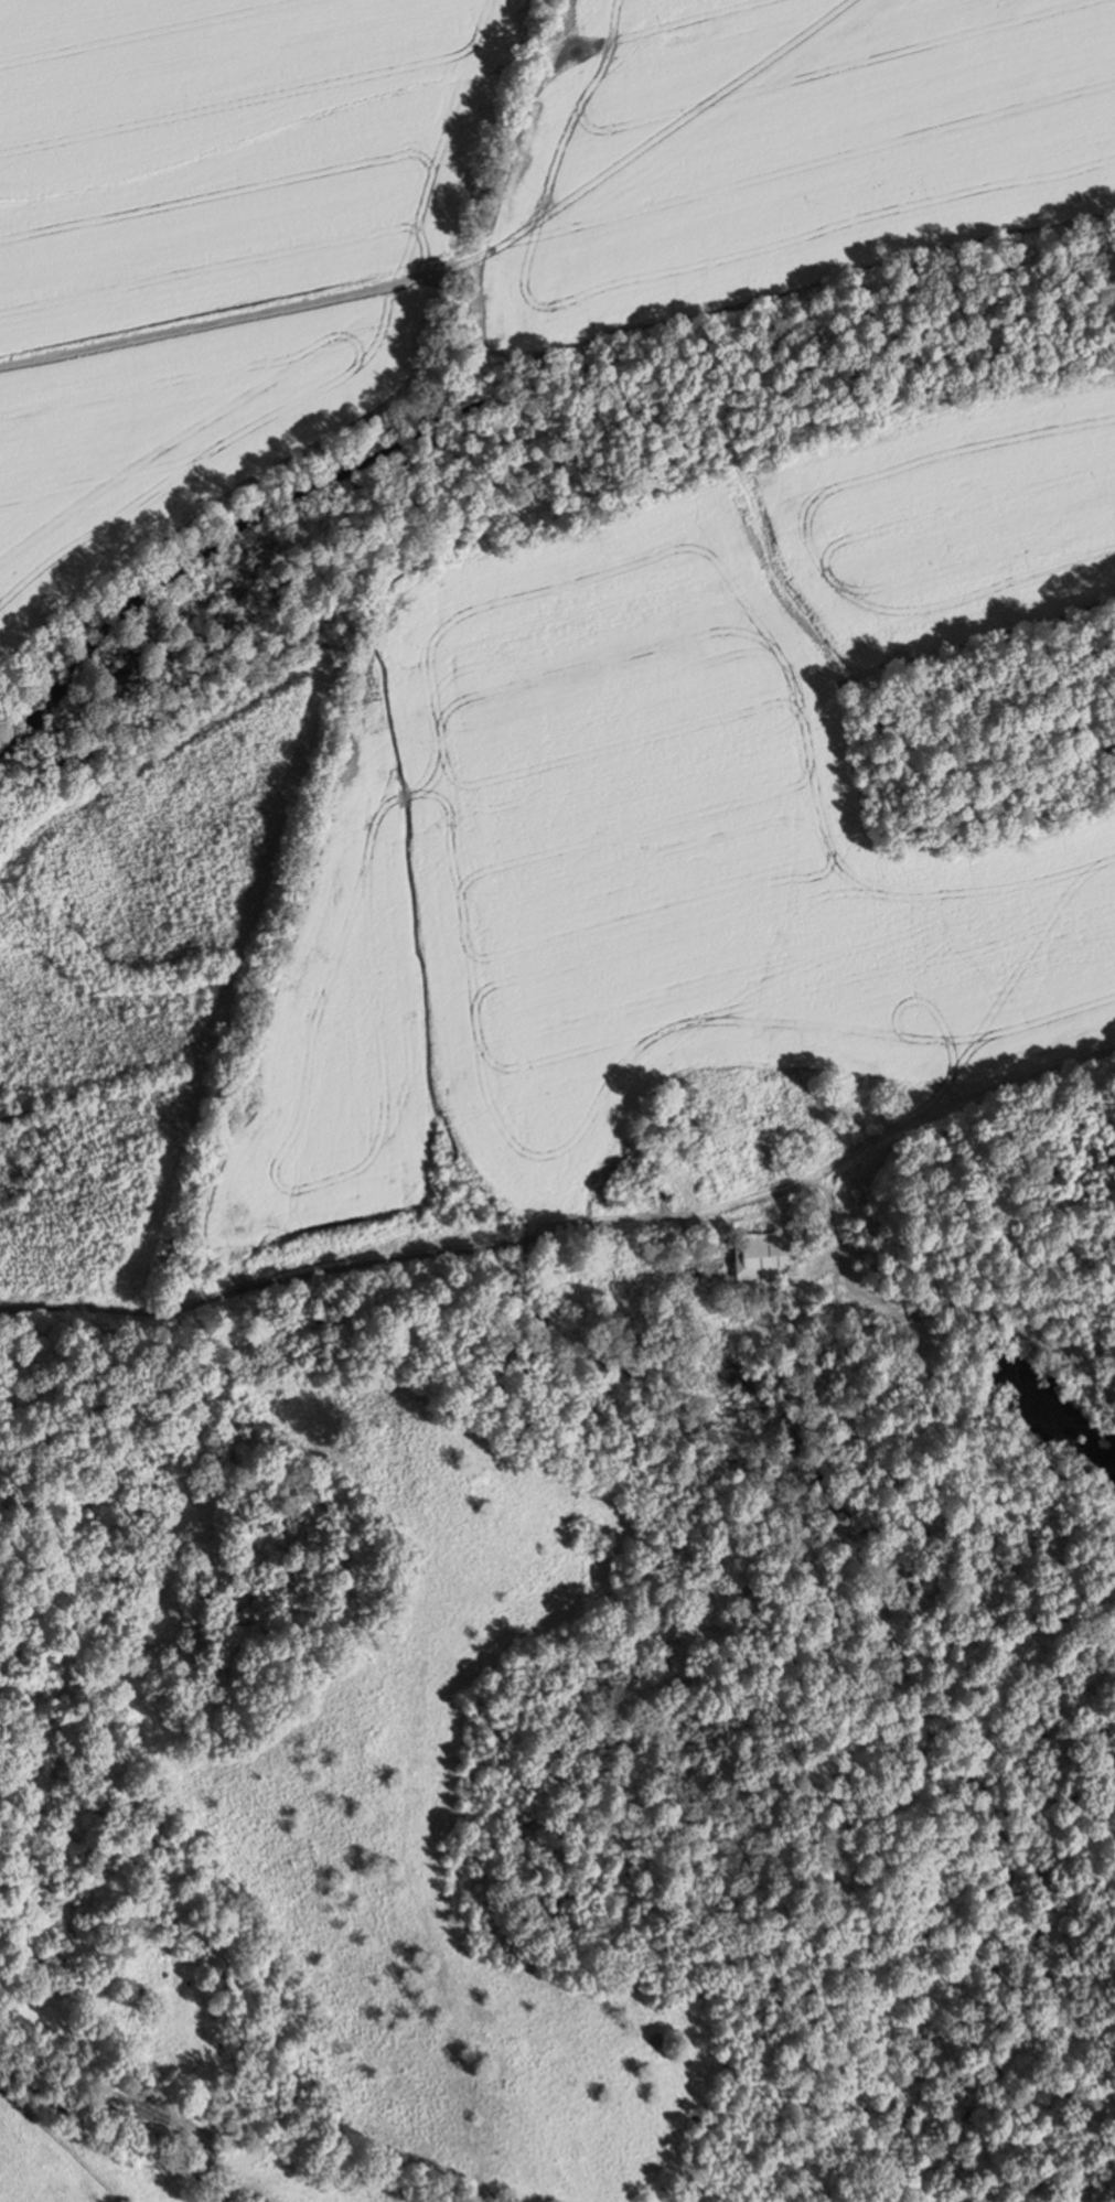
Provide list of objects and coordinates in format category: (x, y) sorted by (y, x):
road: (108, 2131)

